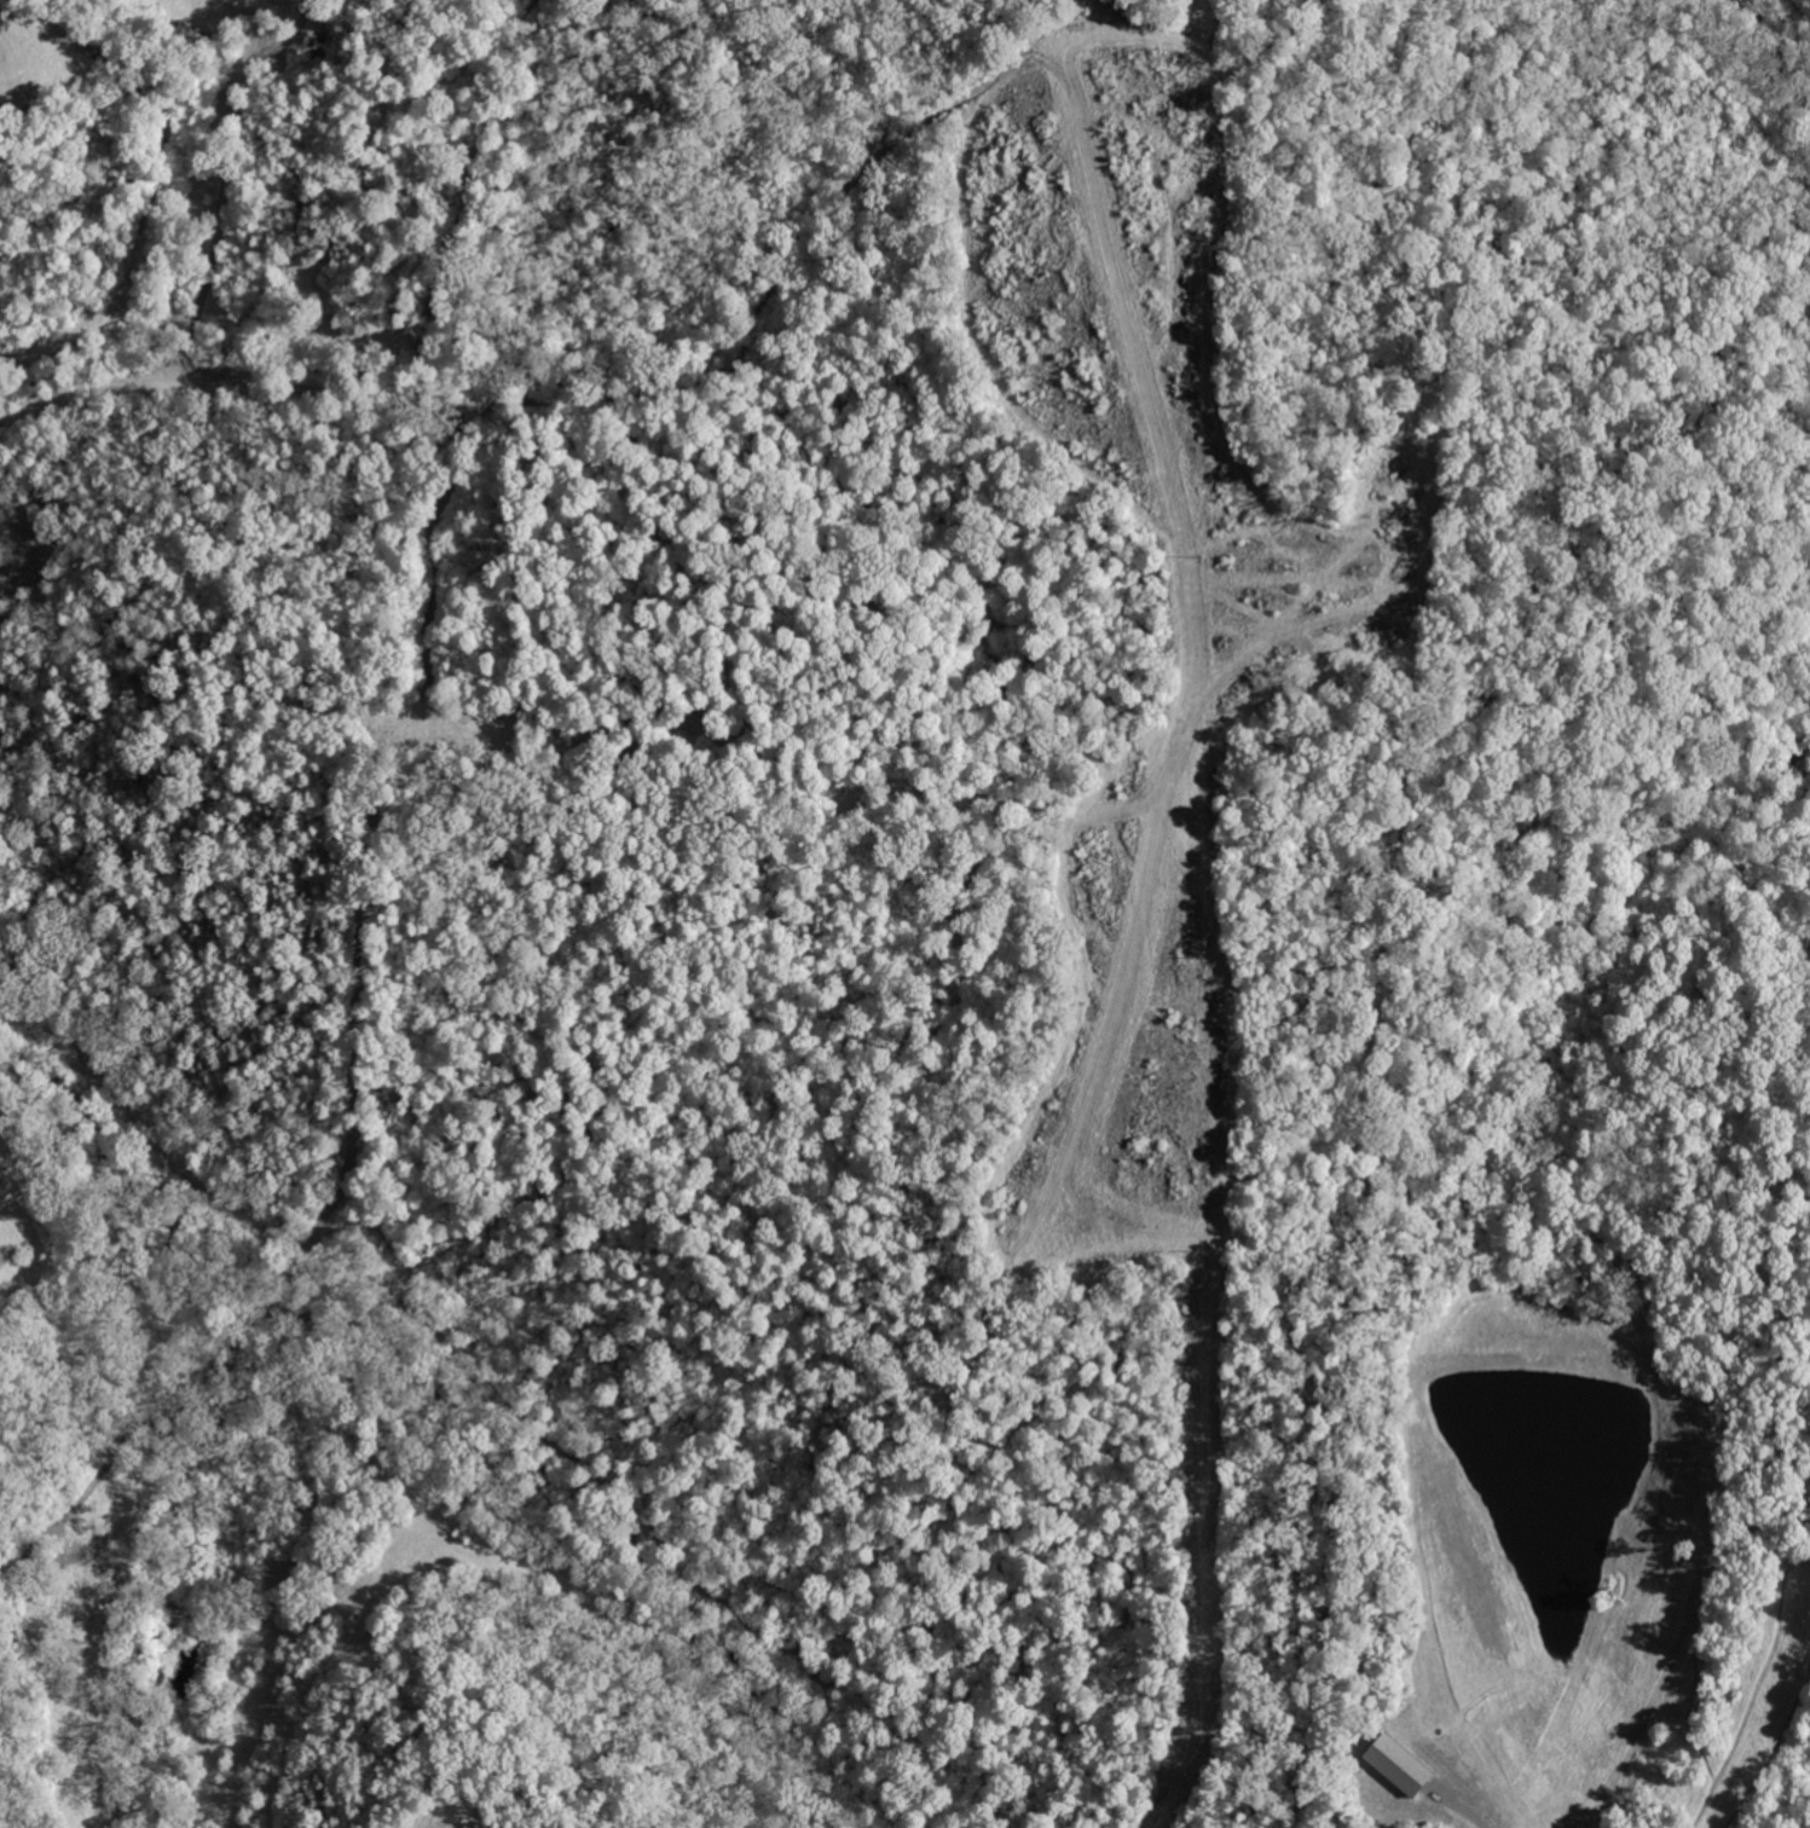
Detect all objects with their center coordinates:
building: (1410, 1768)

